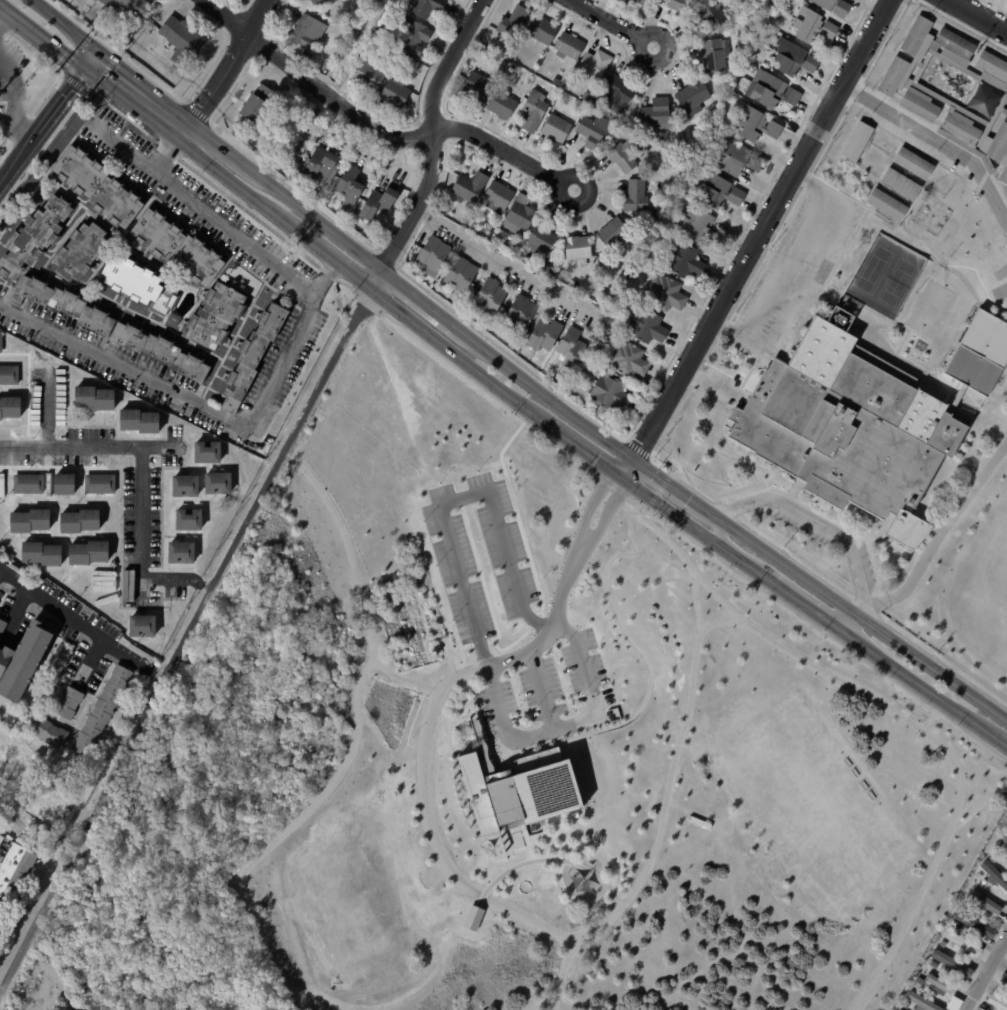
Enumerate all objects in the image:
building: (448, 0)
building: (318, 2)
building: (395, 2)
building: (639, 2)
building: (675, 5)
building: (131, 7)
building: (425, 7)
building: (833, 7)
road: (4, 9)
building: (706, 15)
road: (978, 15)
road: (4, 19)
road: (612, 23)
building: (812, 25)
road: (66, 26)
building: (512, 26)
building: (306, 30)
building: (542, 32)
building: (742, 33)
building: (915, 34)
building: (410, 37)
road: (47, 41)
building: (184, 41)
building: (954, 42)
building: (566, 47)
building: (712, 56)
building: (792, 59)
traffic signals: (92, 61)
building: (594, 64)
building: (992, 65)
road: (227, 66)
building: (511, 69)
building: (366, 74)
building: (892, 75)
building: (174, 81)
road: (314, 83)
building: (555, 84)
building: (475, 88)
building: (769, 91)
road: (138, 95)
building: (394, 95)
building: (614, 95)
building: (693, 96)
building: (919, 104)
building: (262, 105)
building: (500, 106)
road: (16, 107)
building: (531, 112)
building: (656, 114)
building: (755, 125)
building: (960, 127)
road: (47, 128)
building: (555, 129)
building: (591, 135)
building: (856, 140)
road: (938, 142)
building: (998, 142)
road: (433, 144)
road: (169, 149)
road: (505, 150)
building: (621, 156)
building: (734, 158)
building: (912, 162)
building: (326, 166)
building: (1003, 172)
building: (655, 175)
road: (5, 176)
building: (900, 183)
building: (101, 187)
building: (355, 187)
building: (468, 187)
building: (716, 193)
building: (497, 198)
building: (634, 198)
building: (385, 202)
building: (886, 204)
road: (205, 208)
building: (442, 210)
building: (344, 213)
building: (521, 216)
building: (698, 226)
building: (611, 234)
building: (643, 236)
building: (35, 237)
building: (653, 238)
road: (756, 239)
building: (378, 240)
building: (539, 240)
building: (180, 248)
building: (510, 248)
building: (575, 249)
building: (82, 253)
building: (432, 256)
building: (549, 258)
building: (683, 260)
road: (504, 261)
road: (784, 265)
parking lot: (796, 268)
building: (458, 275)
park: (884, 276)
road: (811, 279)
building: (141, 284)
track: (1000, 289)
building: (665, 293)
building: (487, 297)
building: (619, 306)
park: (929, 310)
building: (518, 313)
building: (221, 319)
building: (646, 326)
building: (114, 328)
building: (541, 335)
building: (2, 345)
building: (570, 347)
building: (979, 351)
building: (258, 358)
building: (627, 360)
road: (388, 371)
building: (11, 376)
road: (710, 386)
parking lot: (720, 386)
building: (587, 390)
building: (608, 395)
building: (97, 399)
road: (47, 408)
building: (11, 409)
road: (208, 409)
building: (142, 422)
road: (593, 427)
building: (848, 428)
road: (90, 446)
road: (585, 449)
building: (211, 454)
building: (66, 482)
building: (103, 482)
building: (31, 483)
building: (220, 485)
building: (188, 488)
road: (659, 490)
road: (459, 497)
road: (590, 508)
road: (606, 517)
building: (33, 520)
building: (82, 520)
building: (191, 521)
road: (820, 523)
parking lot: (801, 527)
road: (938, 531)
road: (719, 532)
road: (665, 540)
road: (141, 546)
building: (45, 552)
building: (91, 552)
building: (184, 554)
parking lot: (454, 555)
parking lot: (868, 563)
building: (19, 565)
park: (994, 581)
road: (557, 603)
road: (719, 621)
road: (849, 621)
road: (81, 623)
building: (142, 625)
building: (1, 627)
road: (564, 628)
road: (185, 633)
building: (74, 638)
building: (61, 639)
building: (24, 659)
road: (452, 679)
road: (409, 680)
road: (541, 692)
building: (73, 701)
road: (642, 707)
building: (104, 710)
road: (454, 717)
building: (54, 732)
road: (532, 738)
road: (934, 742)
road: (354, 745)
park: (504, 758)
road: (978, 767)
building: (520, 789)
park: (811, 801)
road: (661, 805)
road: (979, 807)
building: (1006, 838)
building: (2, 839)
building: (999, 844)
road: (158, 846)
road: (598, 847)
road: (543, 858)
road: (442, 860)
building: (17, 871)
building: (995, 874)
building: (980, 875)
building: (985, 902)
park: (347, 907)
building: (4, 916)
building: (473, 917)
building: (975, 923)
building: (964, 943)
building: (943, 944)
building: (953, 963)
building: (935, 964)
road: (987, 976)
building: (1004, 979)
building: (919, 982)
building: (939, 984)
building: (998, 999)
road: (539, 1002)
building: (923, 1002)
building: (907, 1004)
road: (0, 1008)

